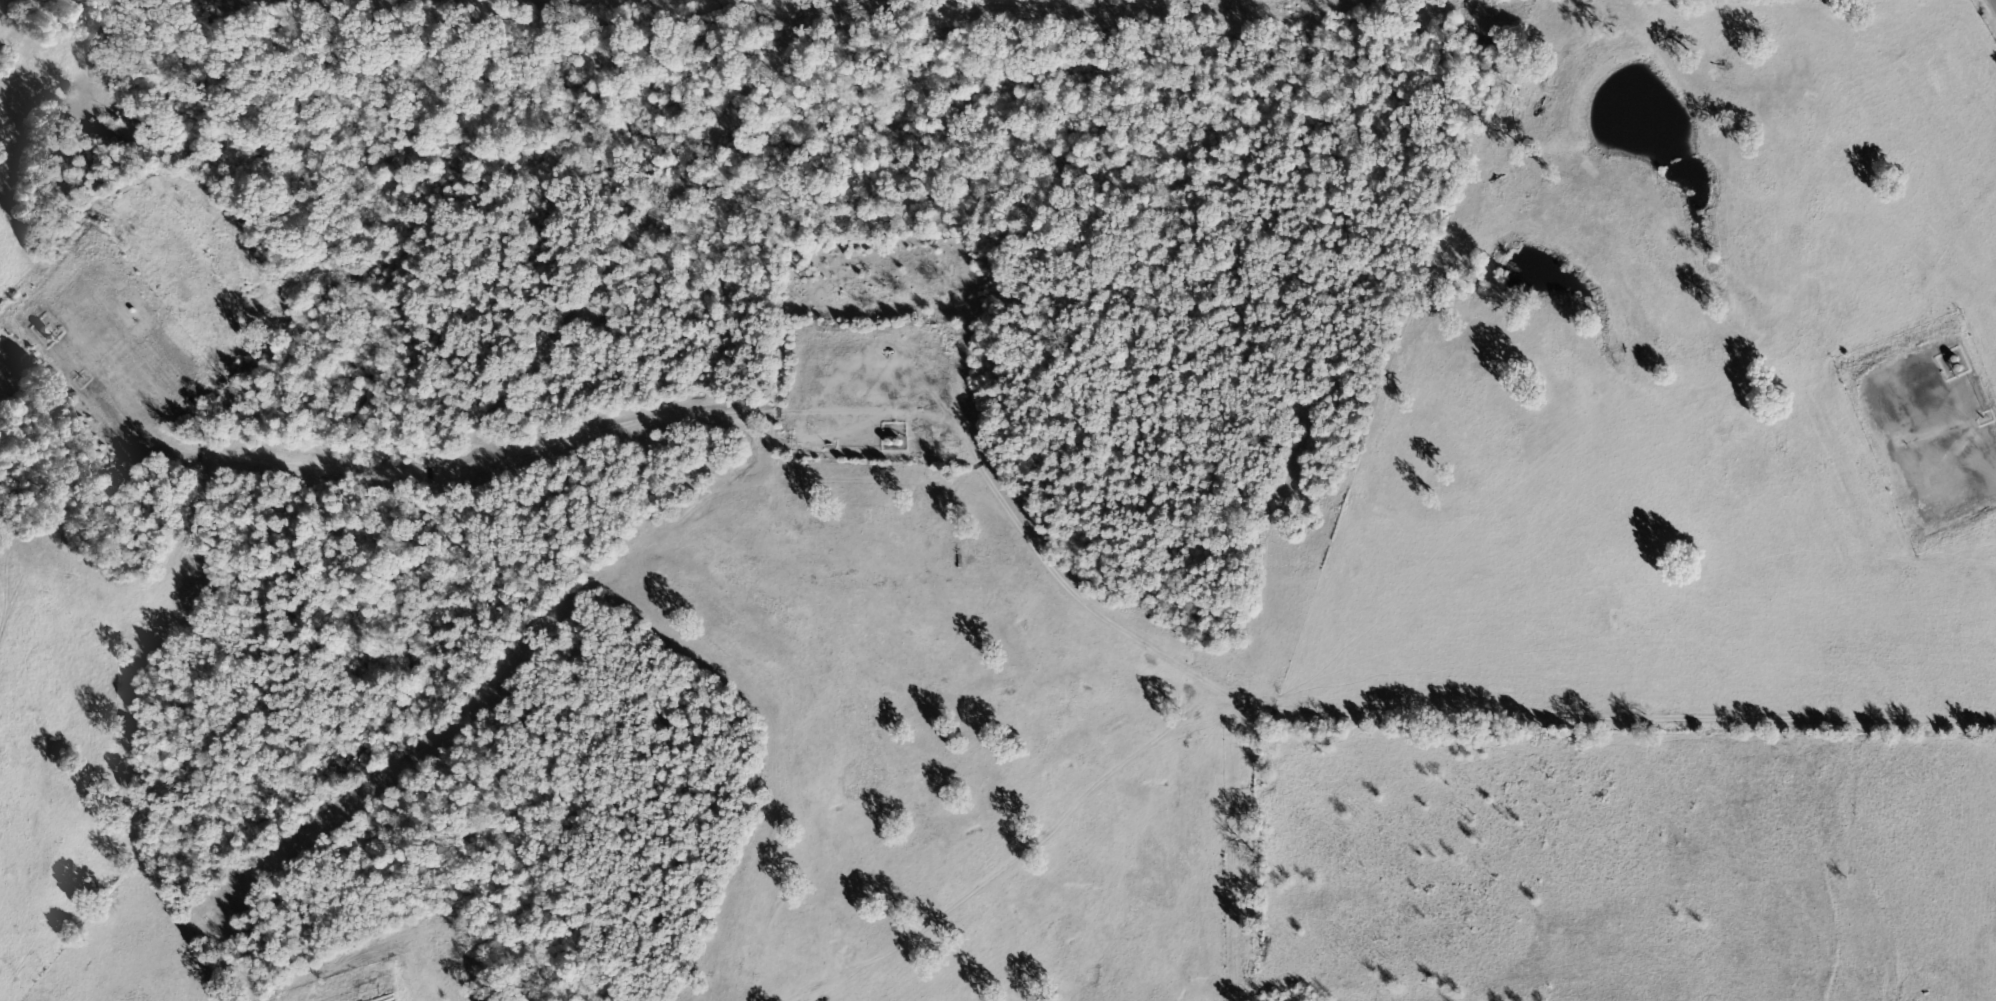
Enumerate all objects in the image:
road: (1993, 3)

